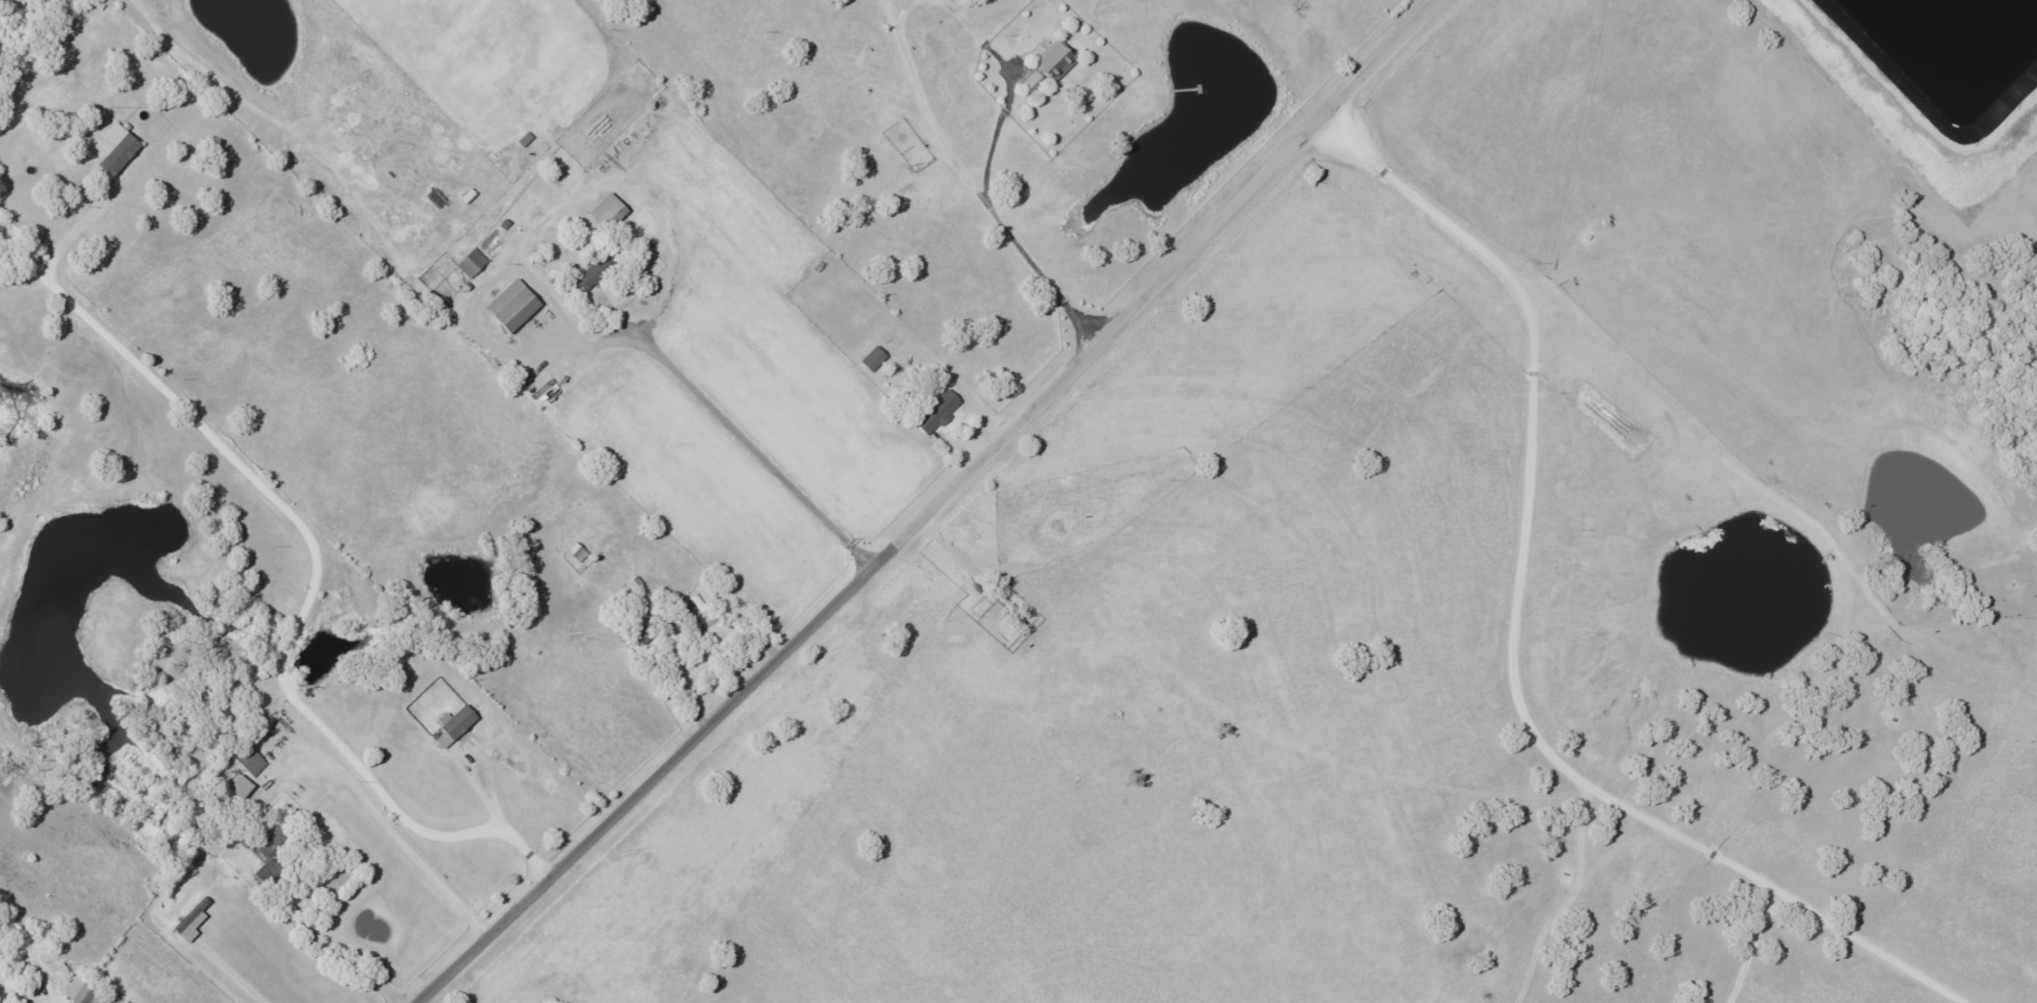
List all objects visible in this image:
building: (1028, 85)
building: (117, 153)
road: (985, 193)
building: (604, 213)
building: (469, 264)
building: (509, 307)
building: (935, 414)
road: (1550, 490)
road: (974, 524)
road: (687, 624)
building: (458, 726)
road: (1081, 742)
building: (252, 762)
building: (242, 788)
road: (1762, 903)
road: (22, 961)
building: (86, 992)

